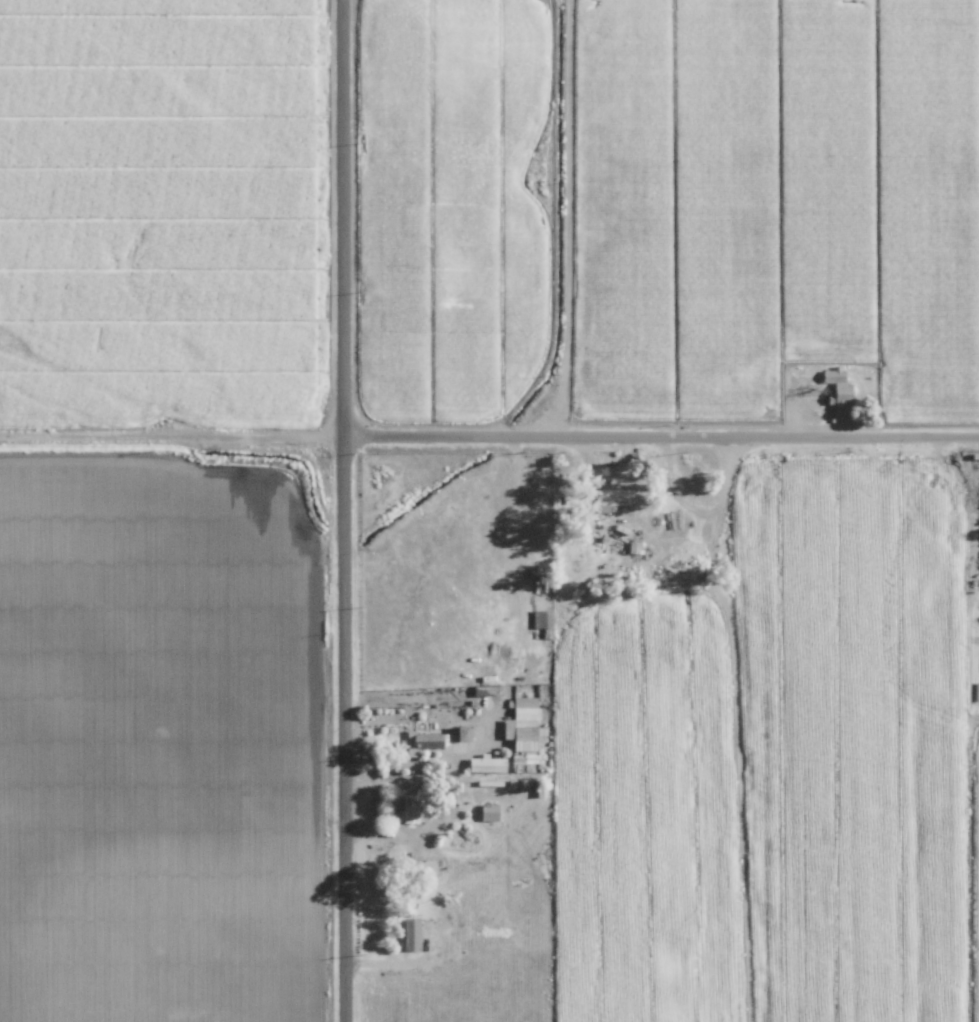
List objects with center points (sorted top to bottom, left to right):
crop: (163, 206)
building: (834, 387)
road: (173, 423)
road: (663, 423)
building: (609, 494)
road: (347, 510)
building: (520, 700)
crop: (975, 711)
crop: (861, 728)
crop: (163, 730)
building: (459, 733)
building: (485, 763)
building: (486, 812)
building: (413, 933)

